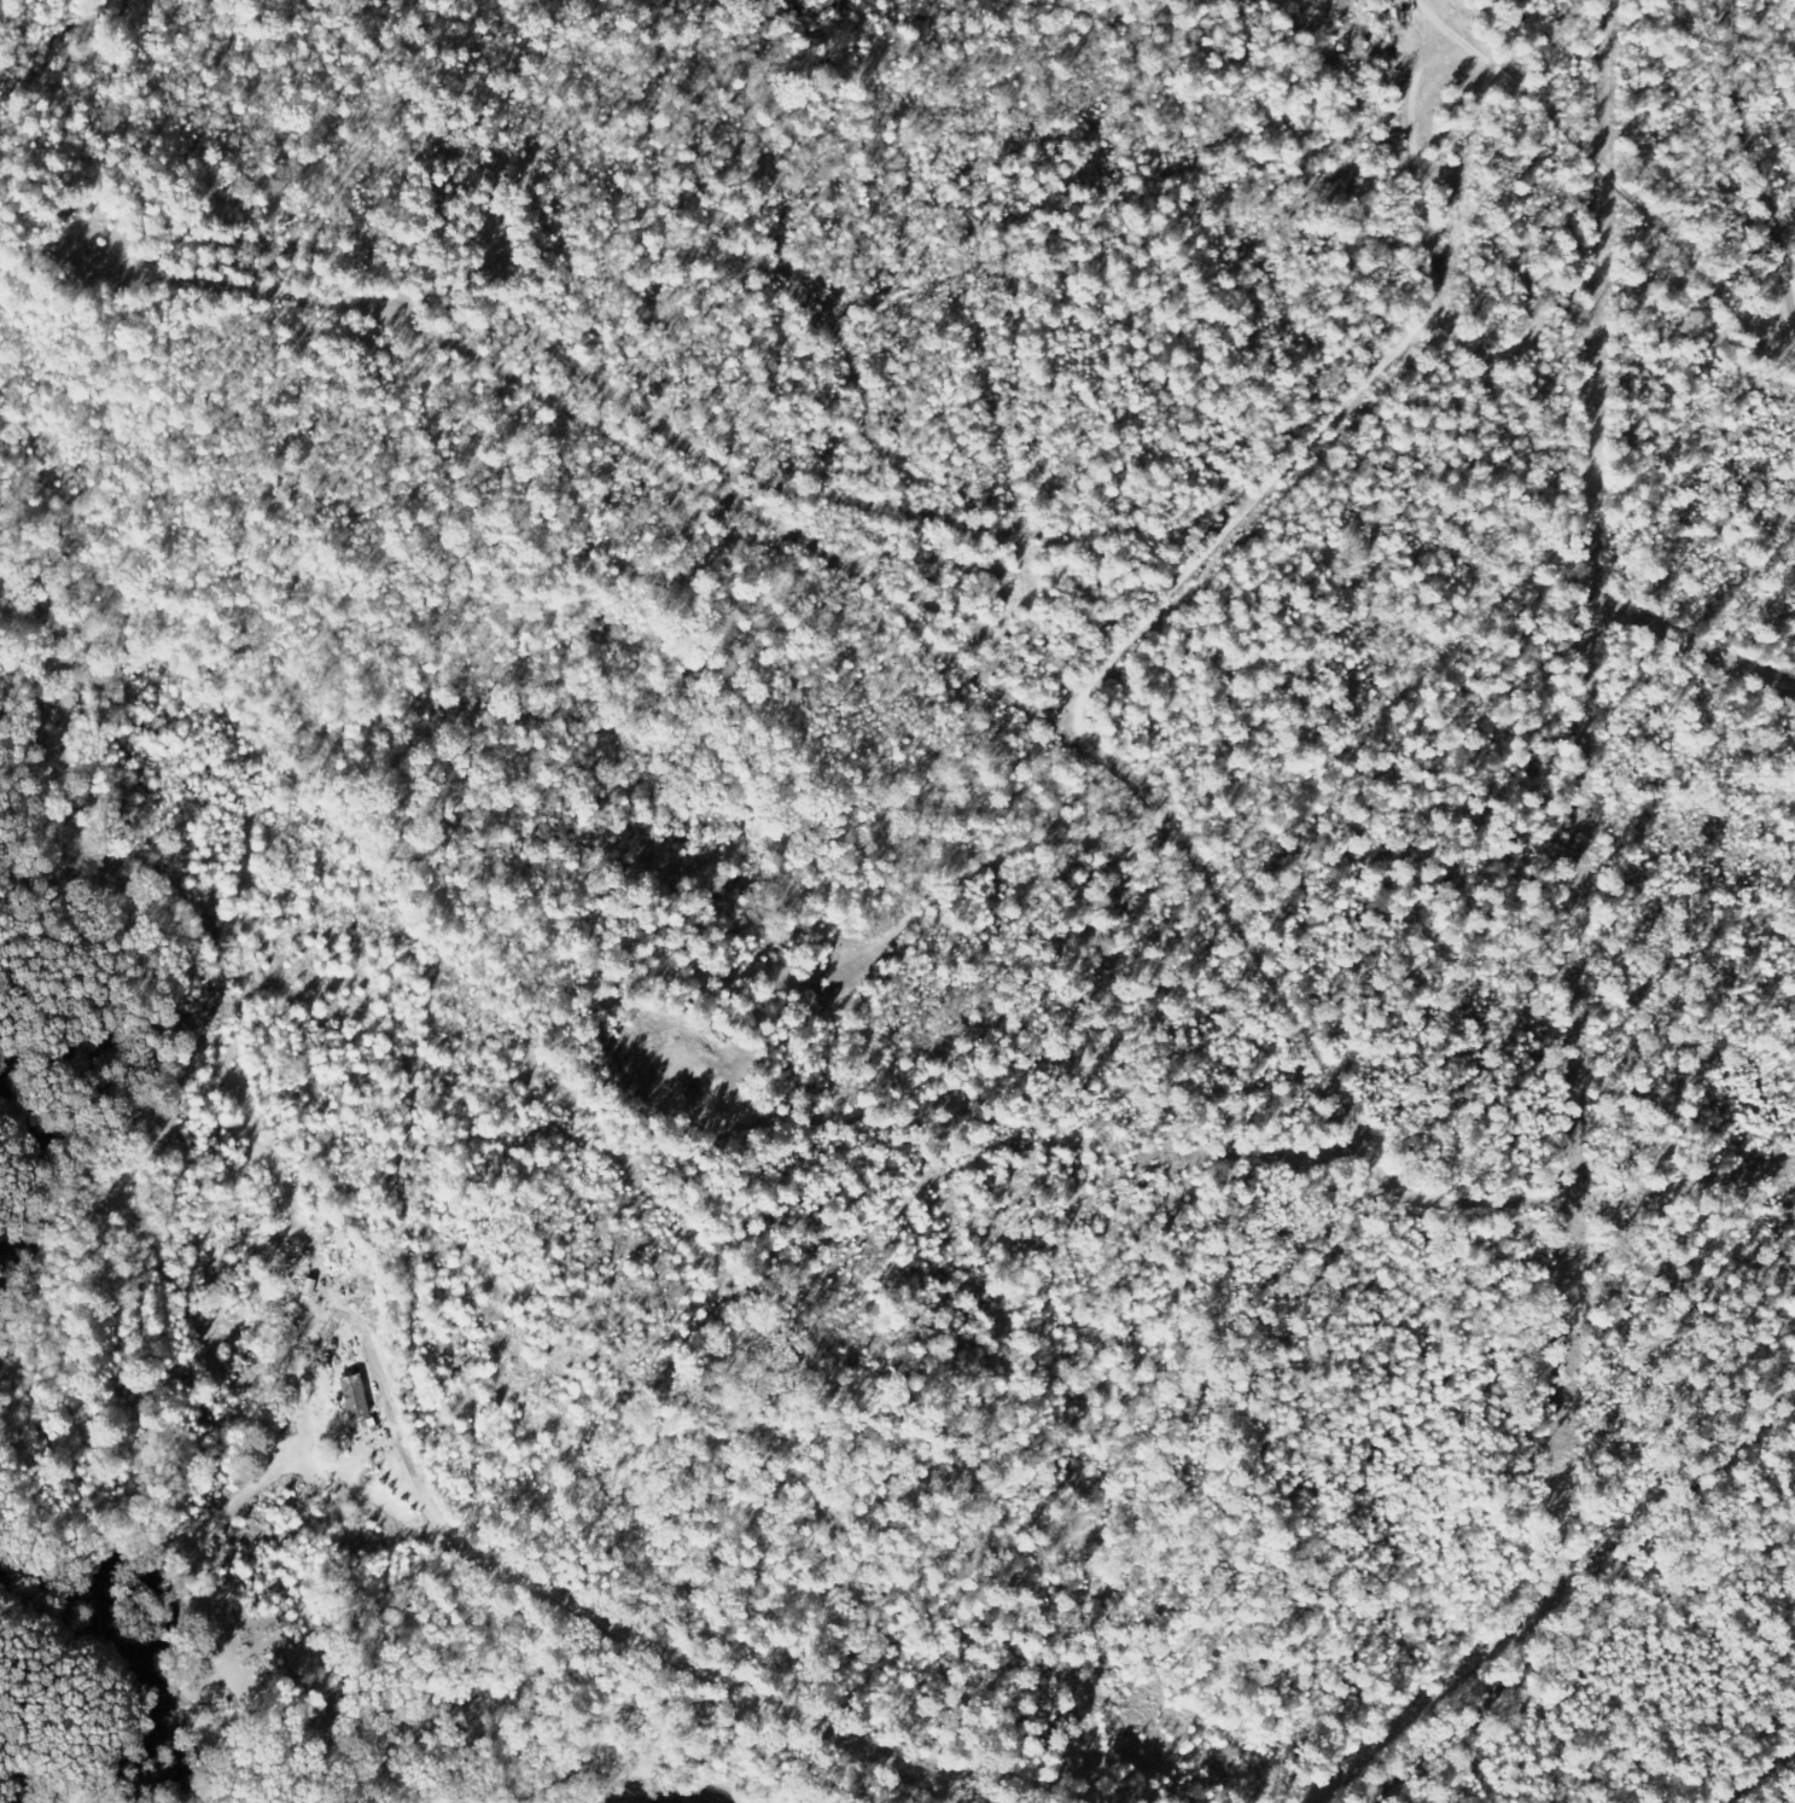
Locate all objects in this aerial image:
road: (1758, 155)
road: (1619, 179)
road: (1392, 1168)
river: (43, 1185)
building: (357, 1396)
road: (599, 1566)
road: (1580, 1571)
river: (140, 1651)
road: (547, 1714)

